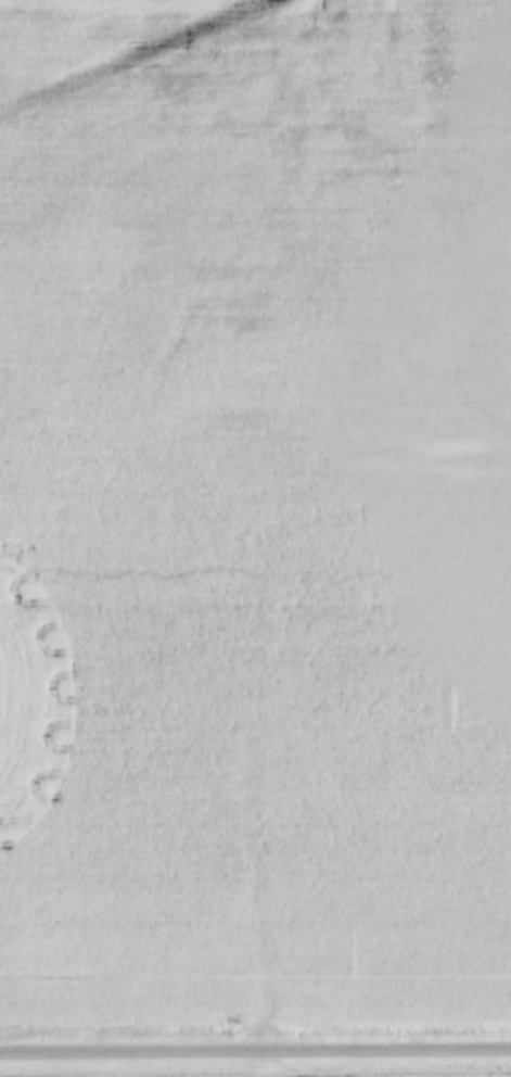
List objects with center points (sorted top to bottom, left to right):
road: (255, 1051)

